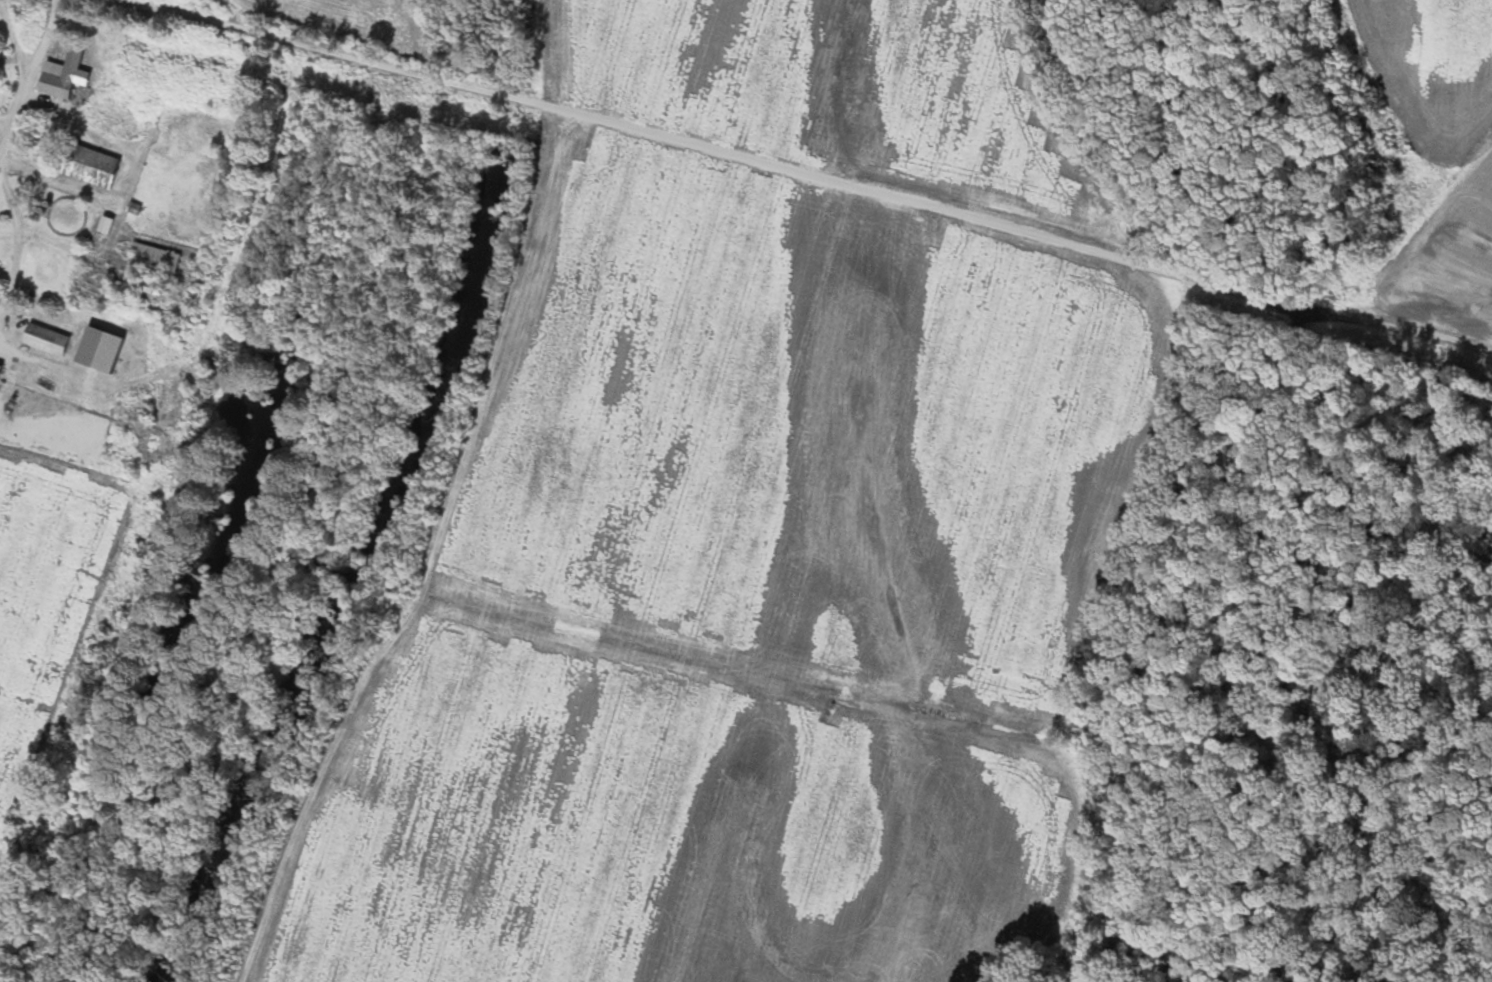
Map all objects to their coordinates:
road: (442, 33)
road: (310, 40)
road: (23, 58)
building: (60, 79)
building: (92, 166)
road: (997, 213)
road: (19, 238)
building: (152, 273)
building: (48, 340)
building: (102, 350)
building: (1, 371)

